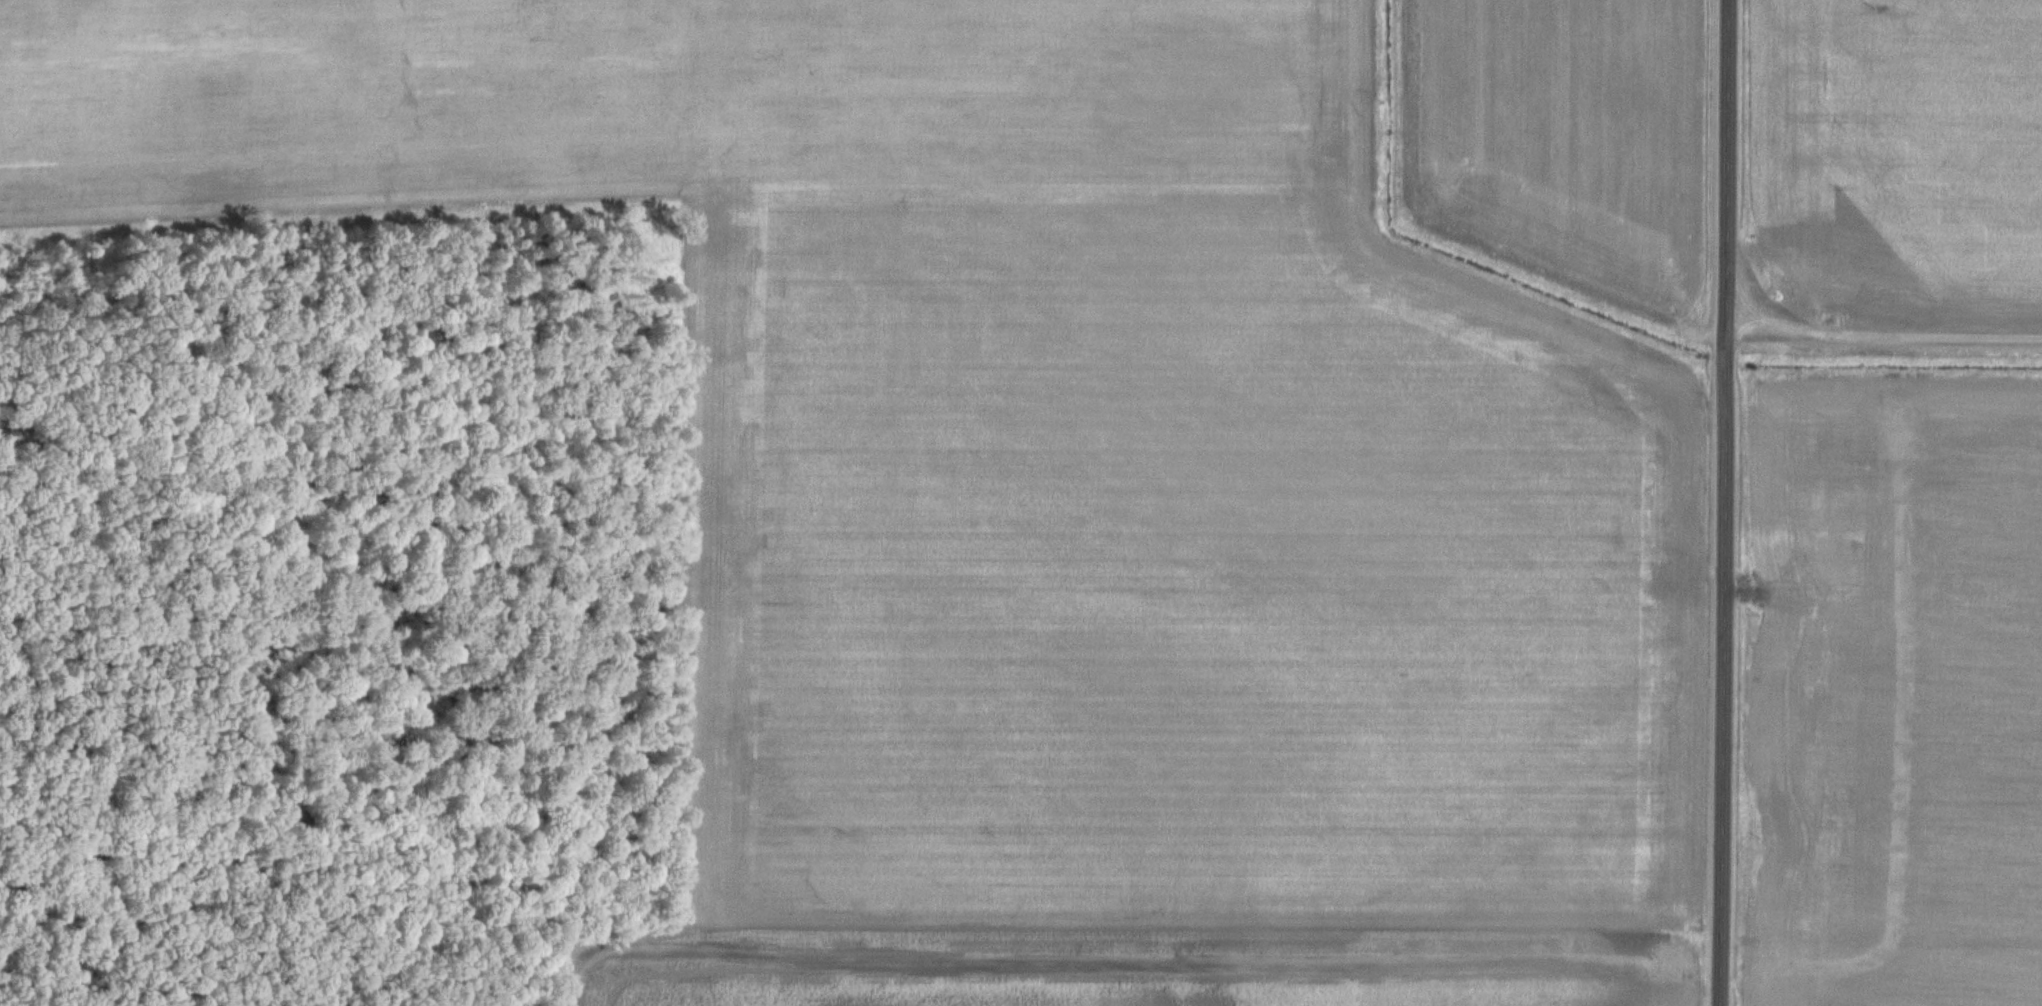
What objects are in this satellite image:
road: (1882, 331)
road: (1721, 503)
building: (1825, 557)

